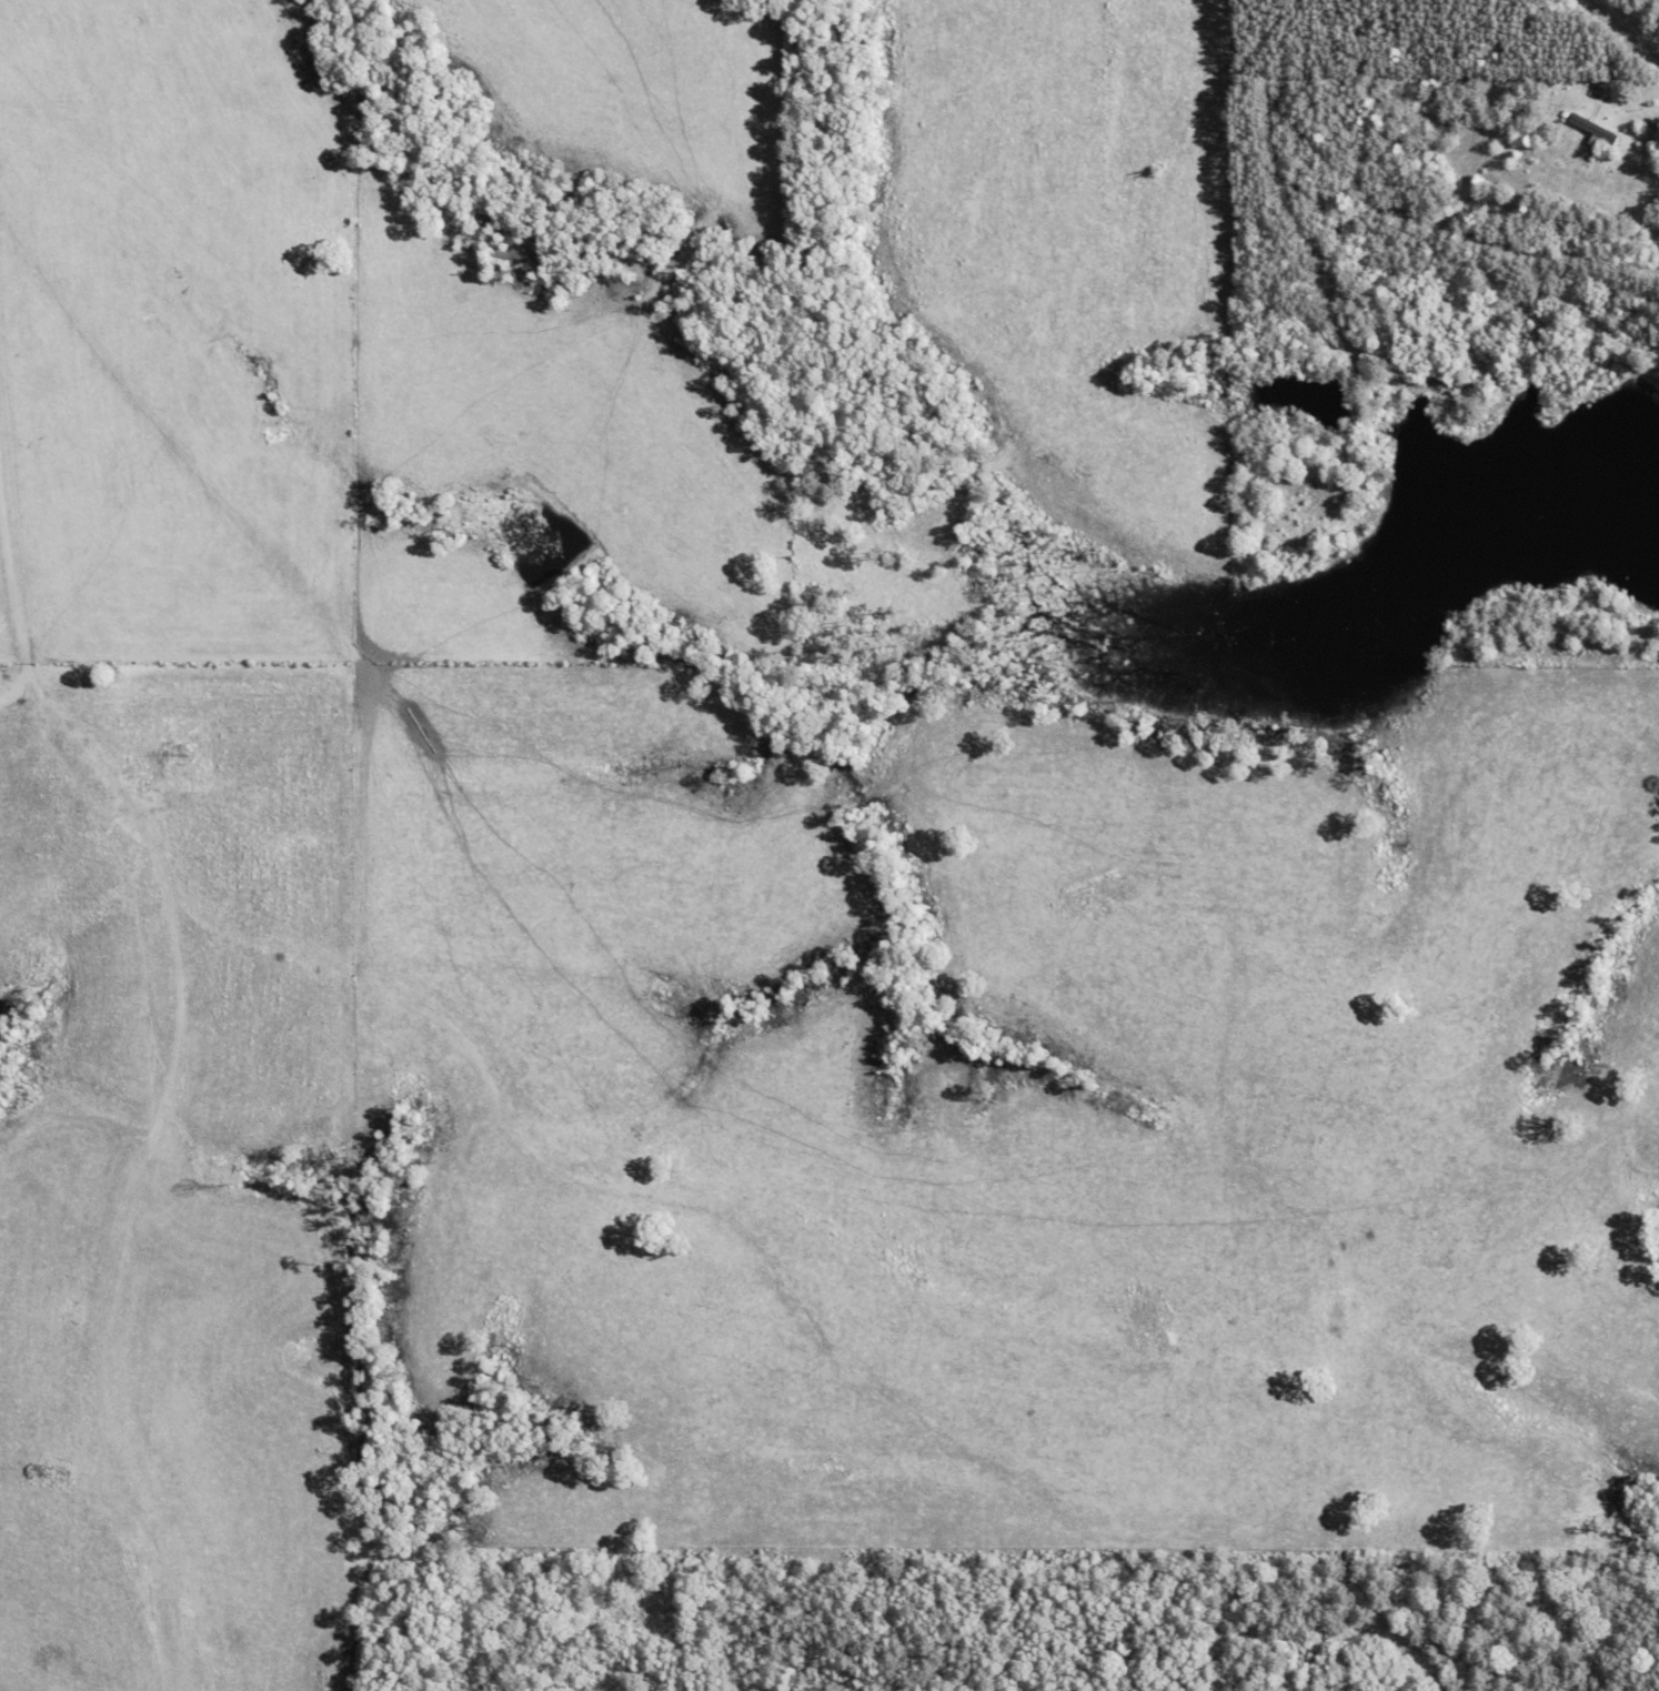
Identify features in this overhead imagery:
road: (1632, 22)
building: (1590, 128)

